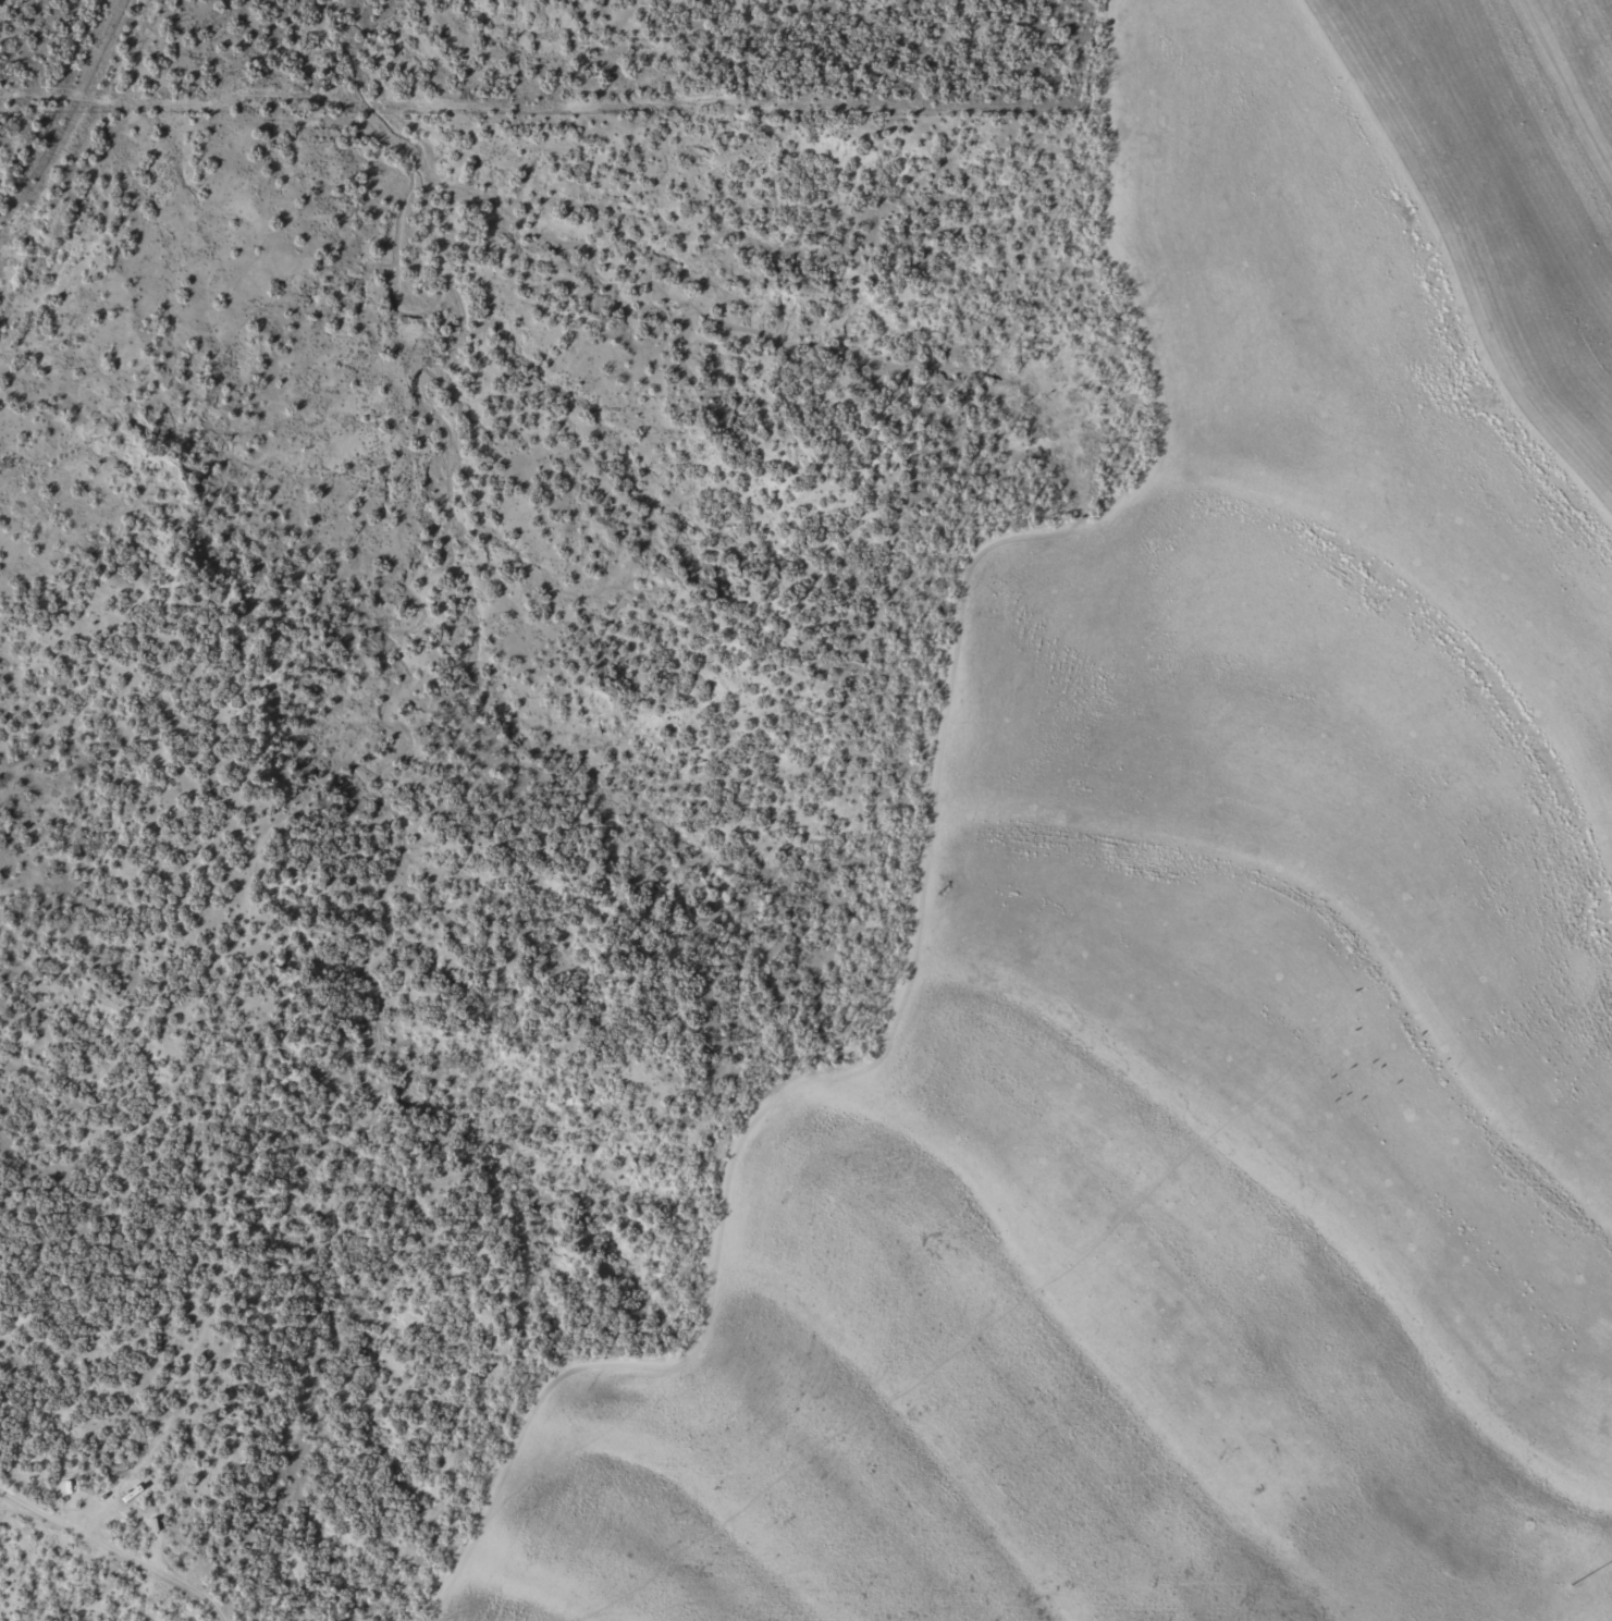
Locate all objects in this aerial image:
railway: (72, 136)
power tower: (1568, 1589)

